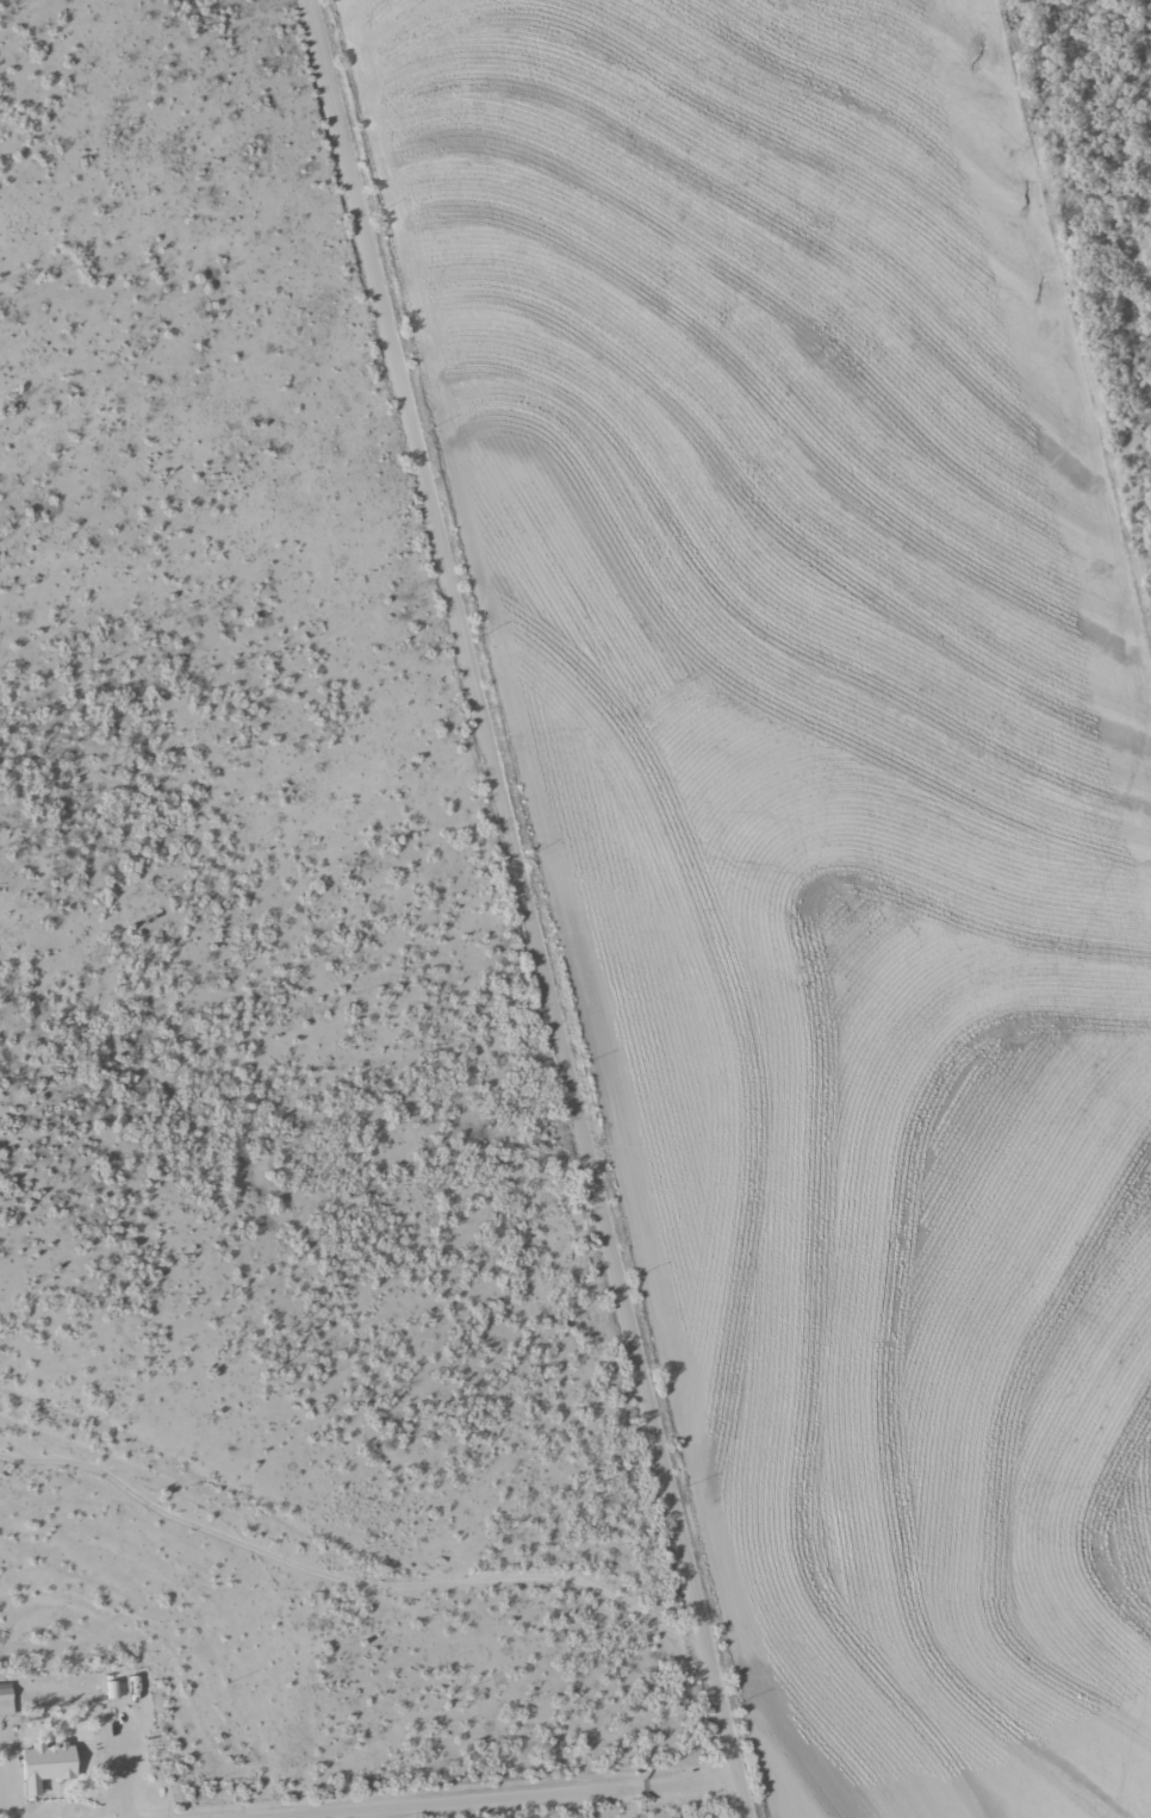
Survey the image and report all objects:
road: (499, 904)
road: (324, 1544)
building: (116, 1689)
building: (46, 1766)

